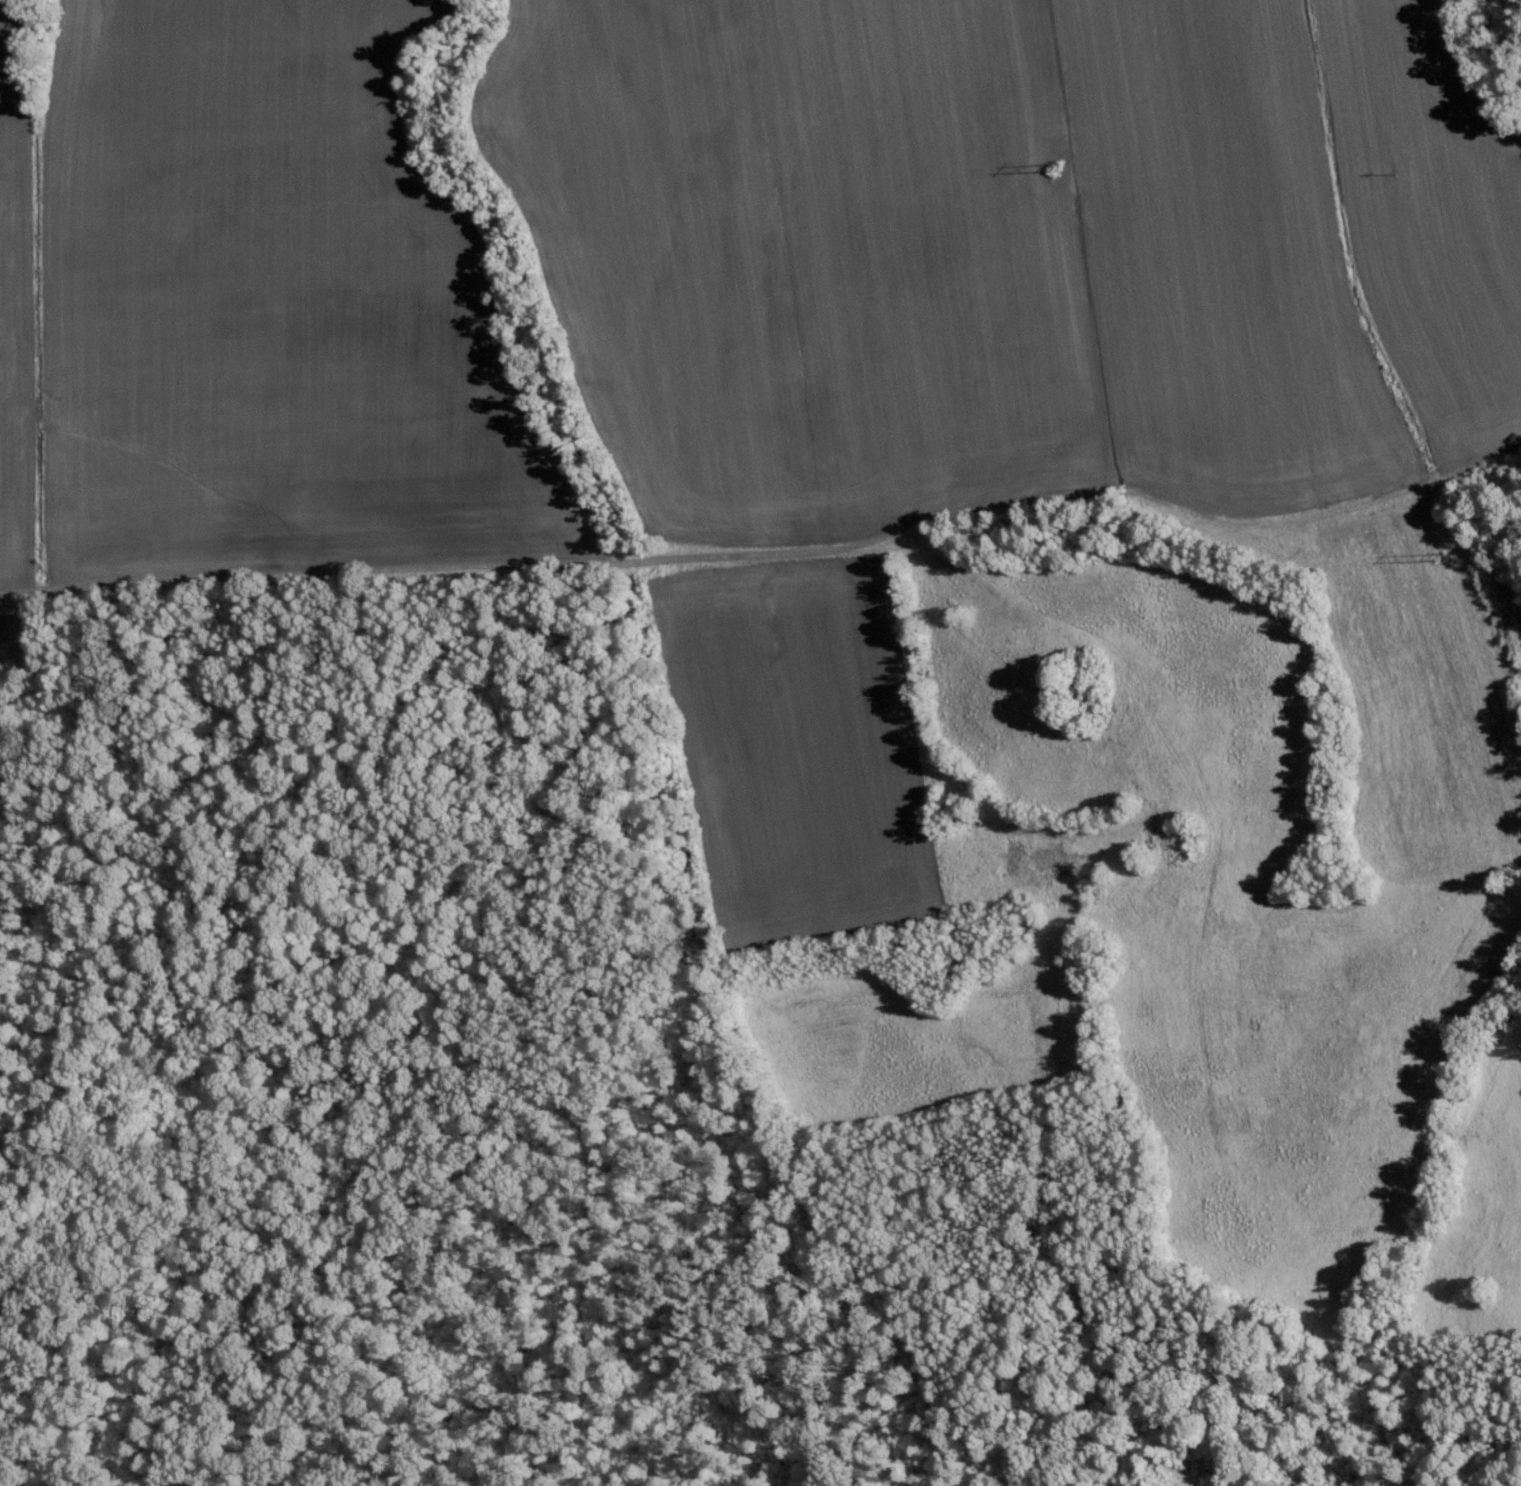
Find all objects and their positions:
power tower: (1058, 163)
road: (614, 531)
power tower: (1441, 550)

